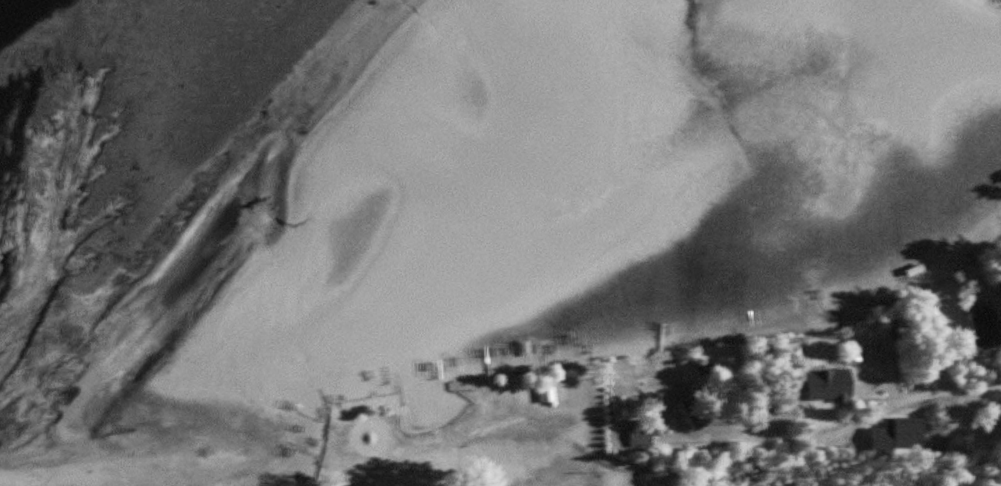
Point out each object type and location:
building: (831, 385)
building: (543, 395)
road: (870, 419)
building: (636, 432)
building: (876, 441)

